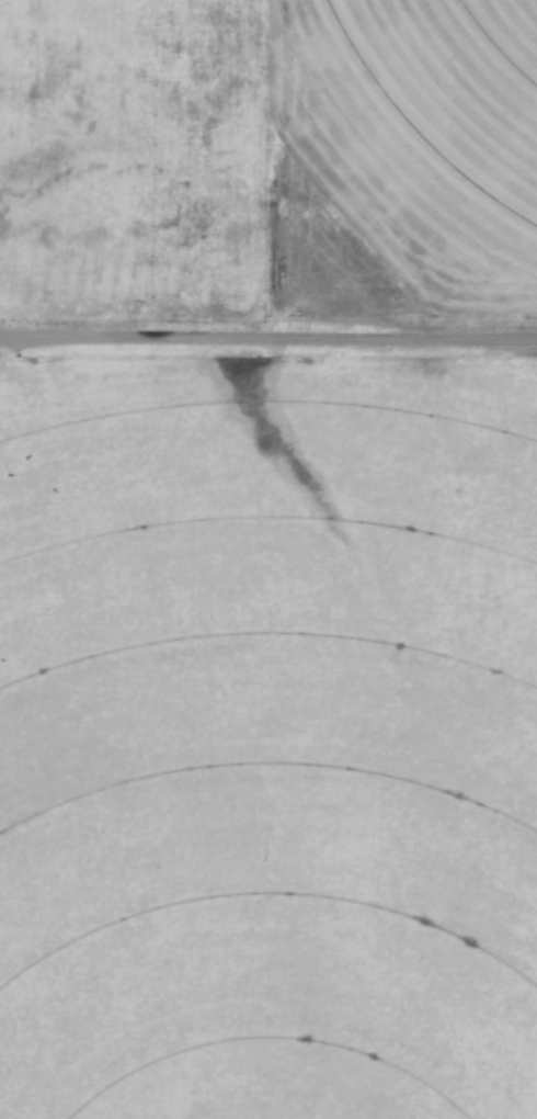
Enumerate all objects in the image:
crop: (429, 121)
road: (140, 335)
road: (409, 337)
crop: (268, 744)

